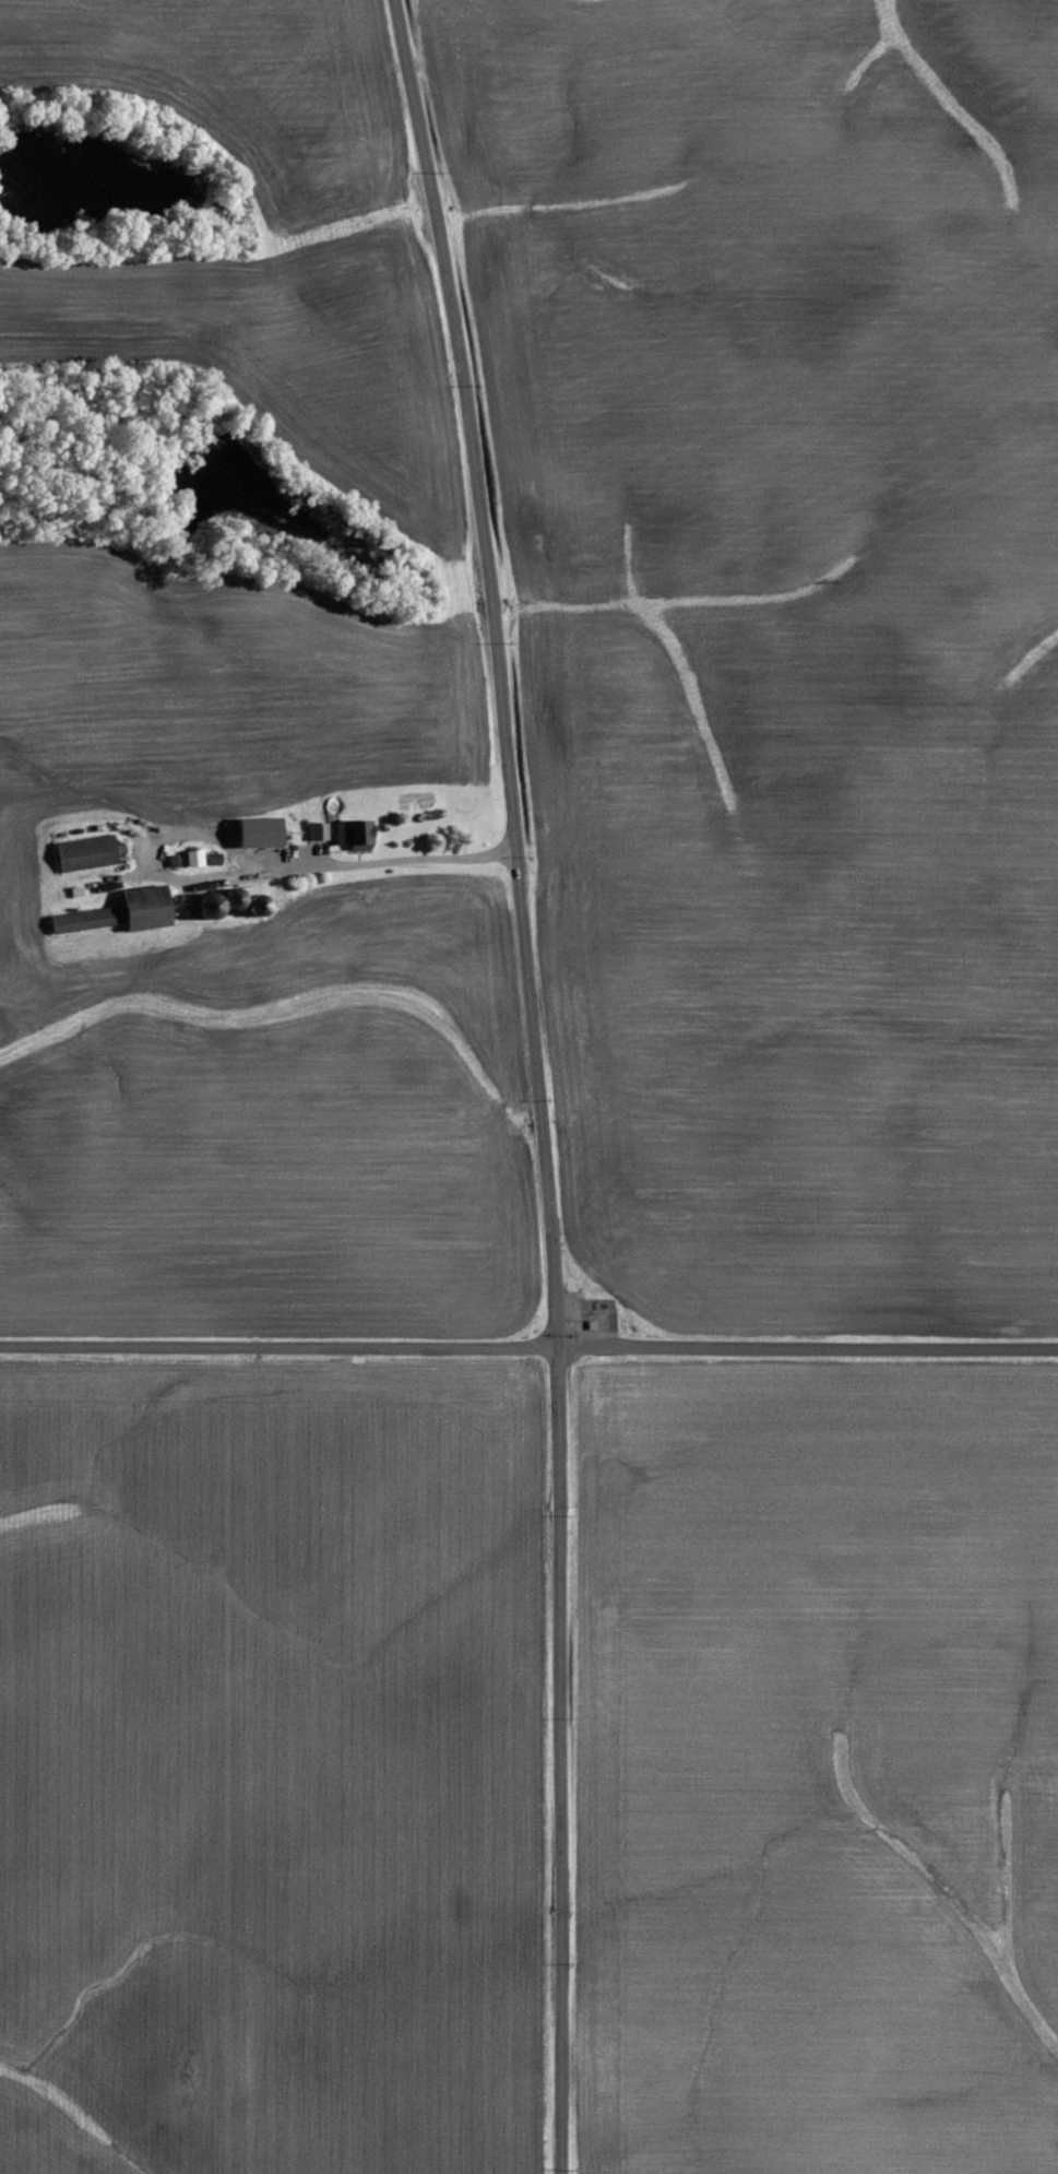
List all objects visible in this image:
building: (316, 832)
building: (254, 834)
building: (350, 836)
building: (83, 854)
building: (191, 859)
building: (119, 913)
road: (535, 1083)
road: (528, 1350)

